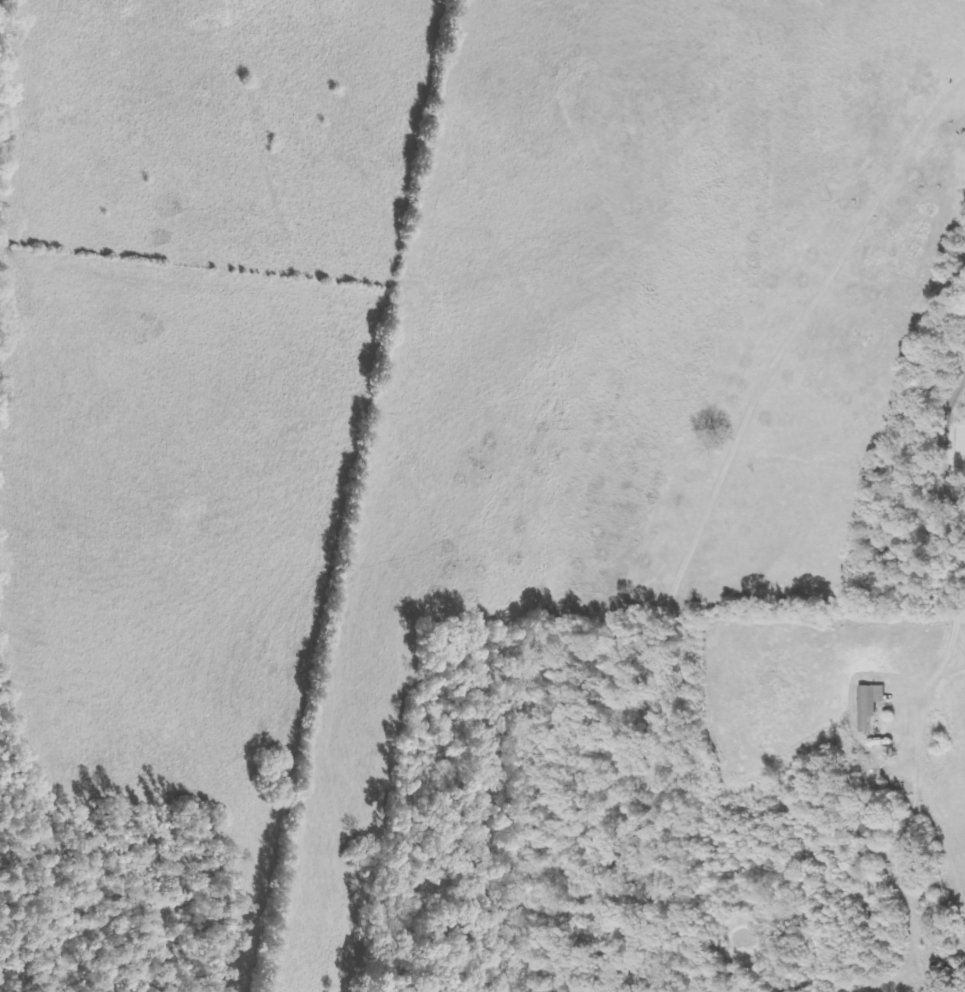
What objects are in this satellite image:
road: (945, 478)
building: (866, 705)
building: (865, 817)

